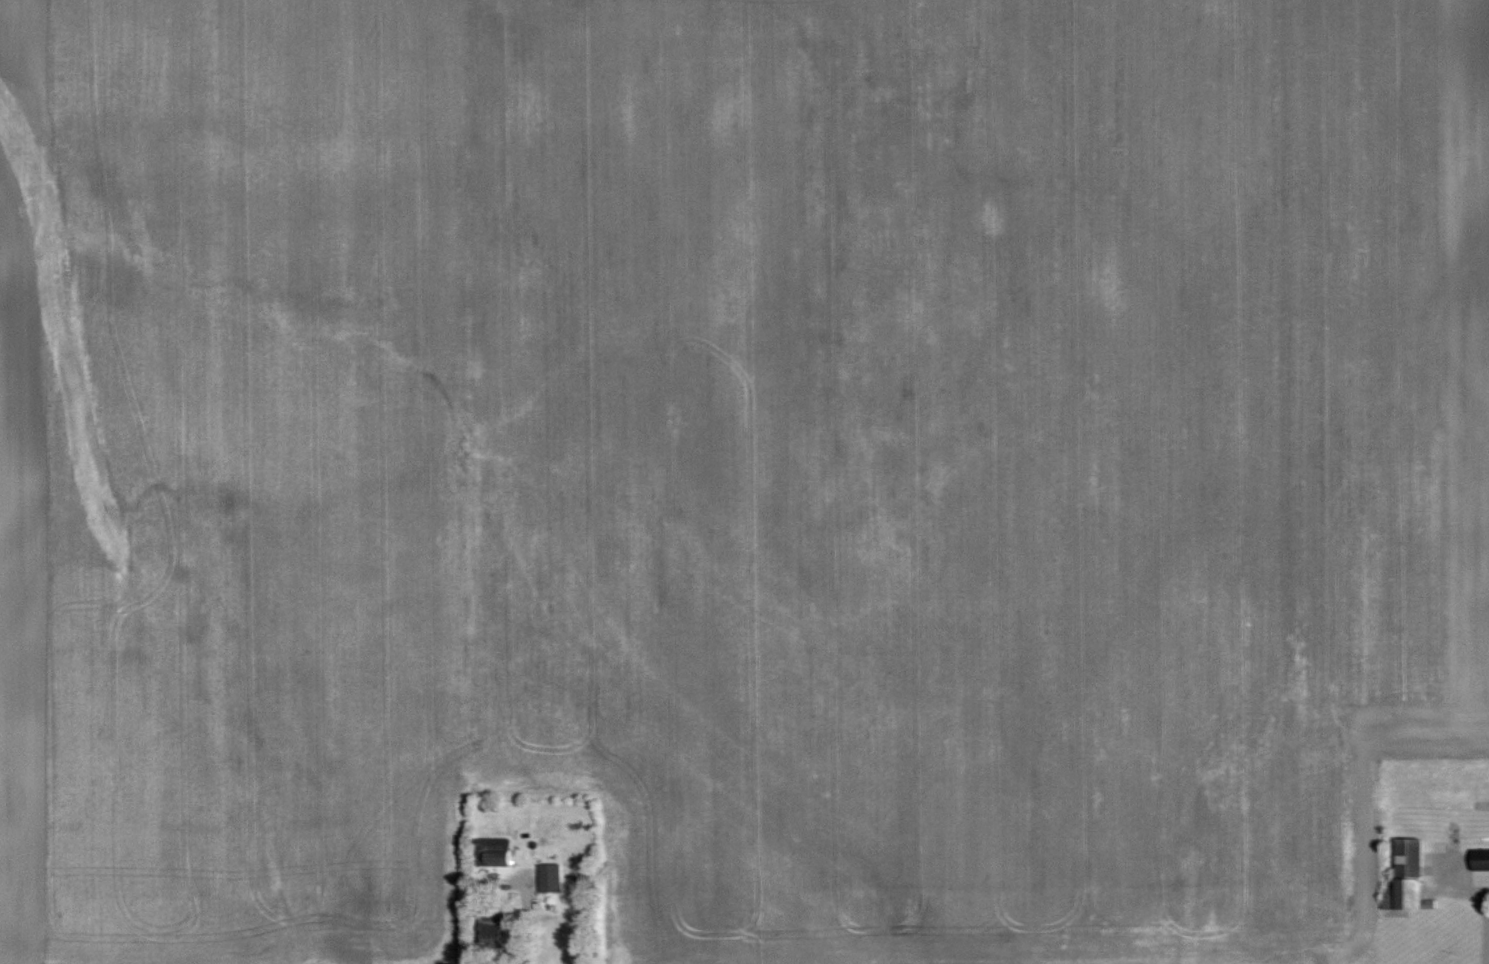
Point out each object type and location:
building: (494, 852)
building: (1480, 860)
building: (1406, 877)
building: (551, 878)
road: (1488, 921)
building: (492, 935)

